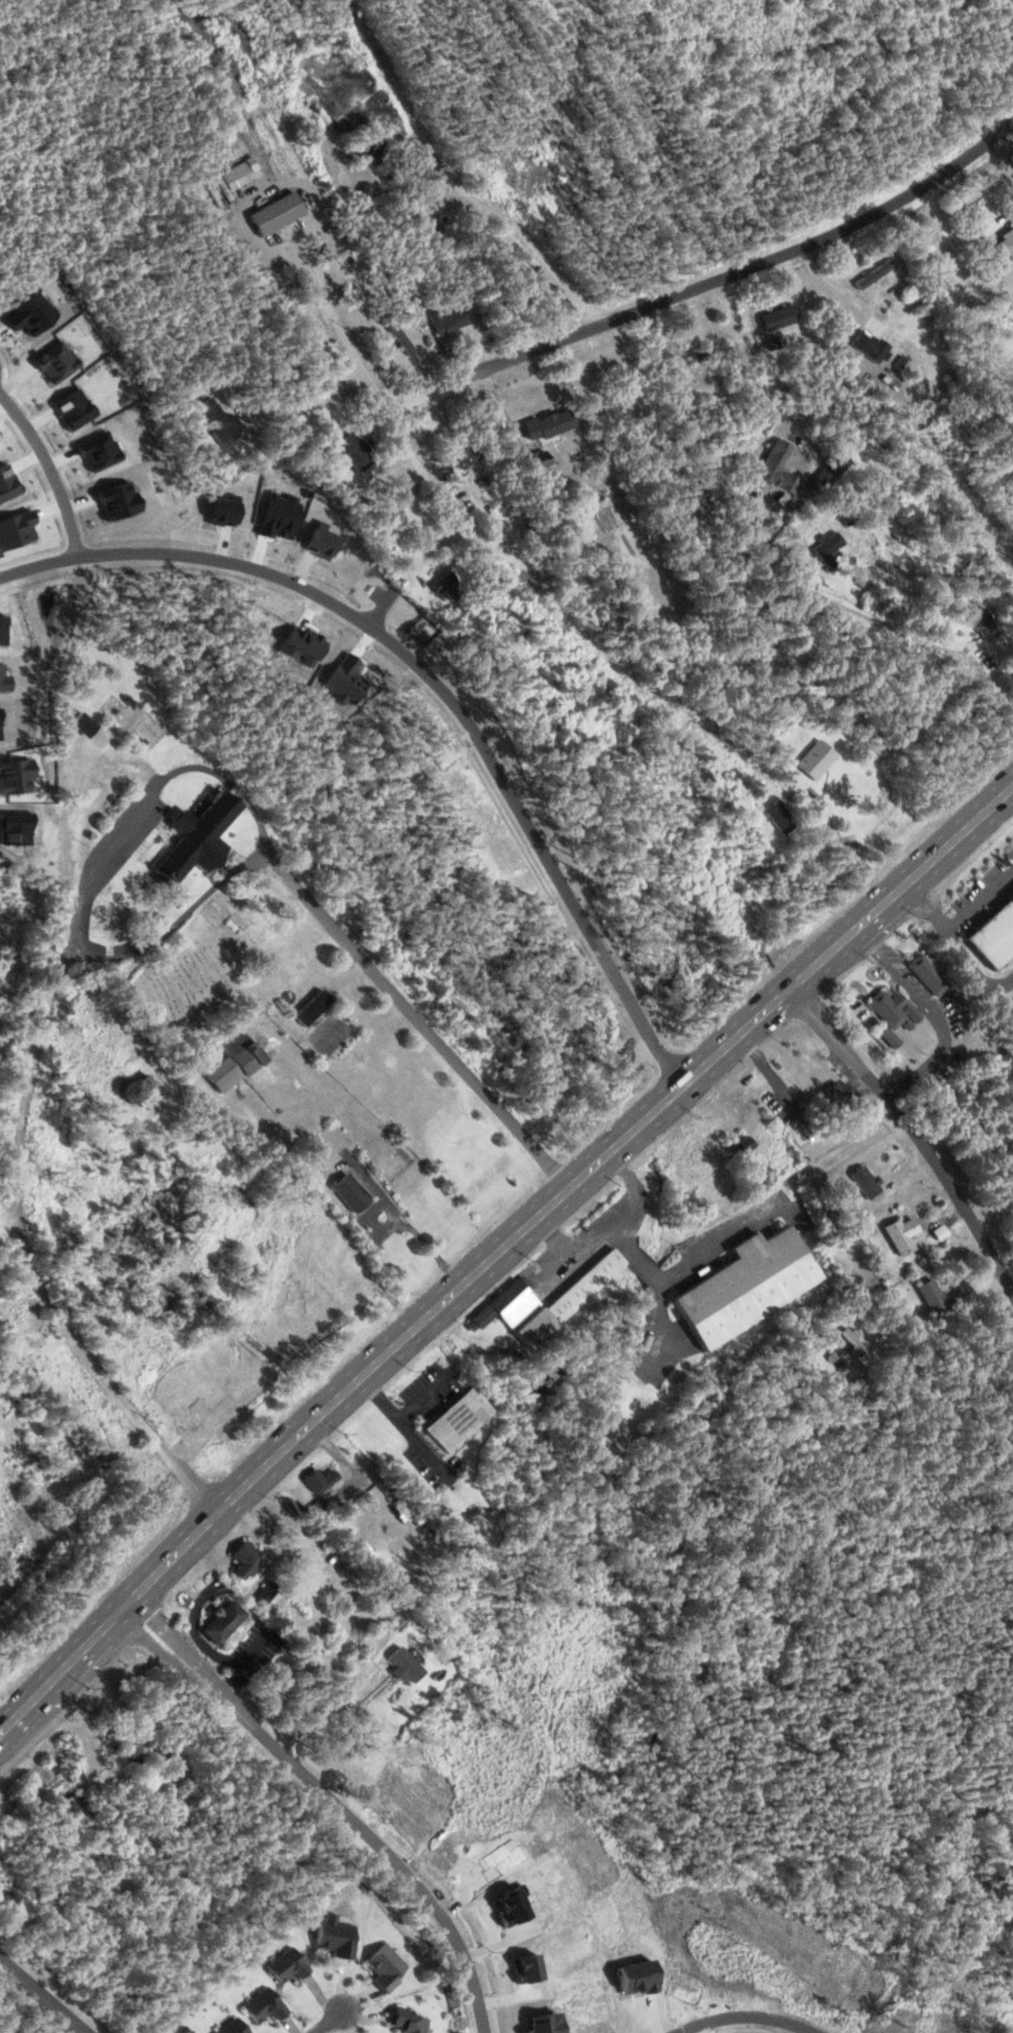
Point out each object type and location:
building: (310, 89)
building: (280, 140)
building: (367, 149)
building: (1006, 243)
building: (863, 275)
road: (713, 278)
road: (325, 284)
building: (777, 318)
building: (449, 322)
building: (401, 348)
building: (872, 351)
building: (698, 356)
building: (215, 422)
building: (539, 435)
road: (408, 444)
building: (355, 452)
building: (466, 458)
building: (770, 458)
road: (49, 468)
building: (830, 471)
building: (408, 505)
road: (737, 536)
building: (829, 545)
building: (985, 624)
road: (434, 680)
building: (816, 760)
building: (779, 817)
building: (195, 825)
building: (750, 868)
road: (65, 930)
building: (994, 935)
building: (927, 975)
road: (423, 1025)
building: (901, 1025)
building: (234, 1063)
building: (134, 1088)
building: (840, 1092)
road: (914, 1127)
building: (866, 1181)
building: (350, 1191)
building: (901, 1234)
building: (315, 1236)
road: (497, 1249)
building: (746, 1285)
building: (573, 1295)
building: (932, 1297)
building: (508, 1299)
building: (852, 1341)
road: (91, 1369)
building: (162, 1373)
building: (464, 1417)
road: (51, 1423)
building: (319, 1479)
building: (246, 1560)
building: (267, 1594)
building: (223, 1622)
building: (406, 1665)
road: (335, 1800)
building: (72, 1802)
building: (336, 1935)
building: (287, 1965)
building: (385, 1967)
road: (41, 1996)
building: (264, 2005)
road: (749, 2015)
road: (327, 2020)
building: (408, 2021)
building: (233, 2027)

